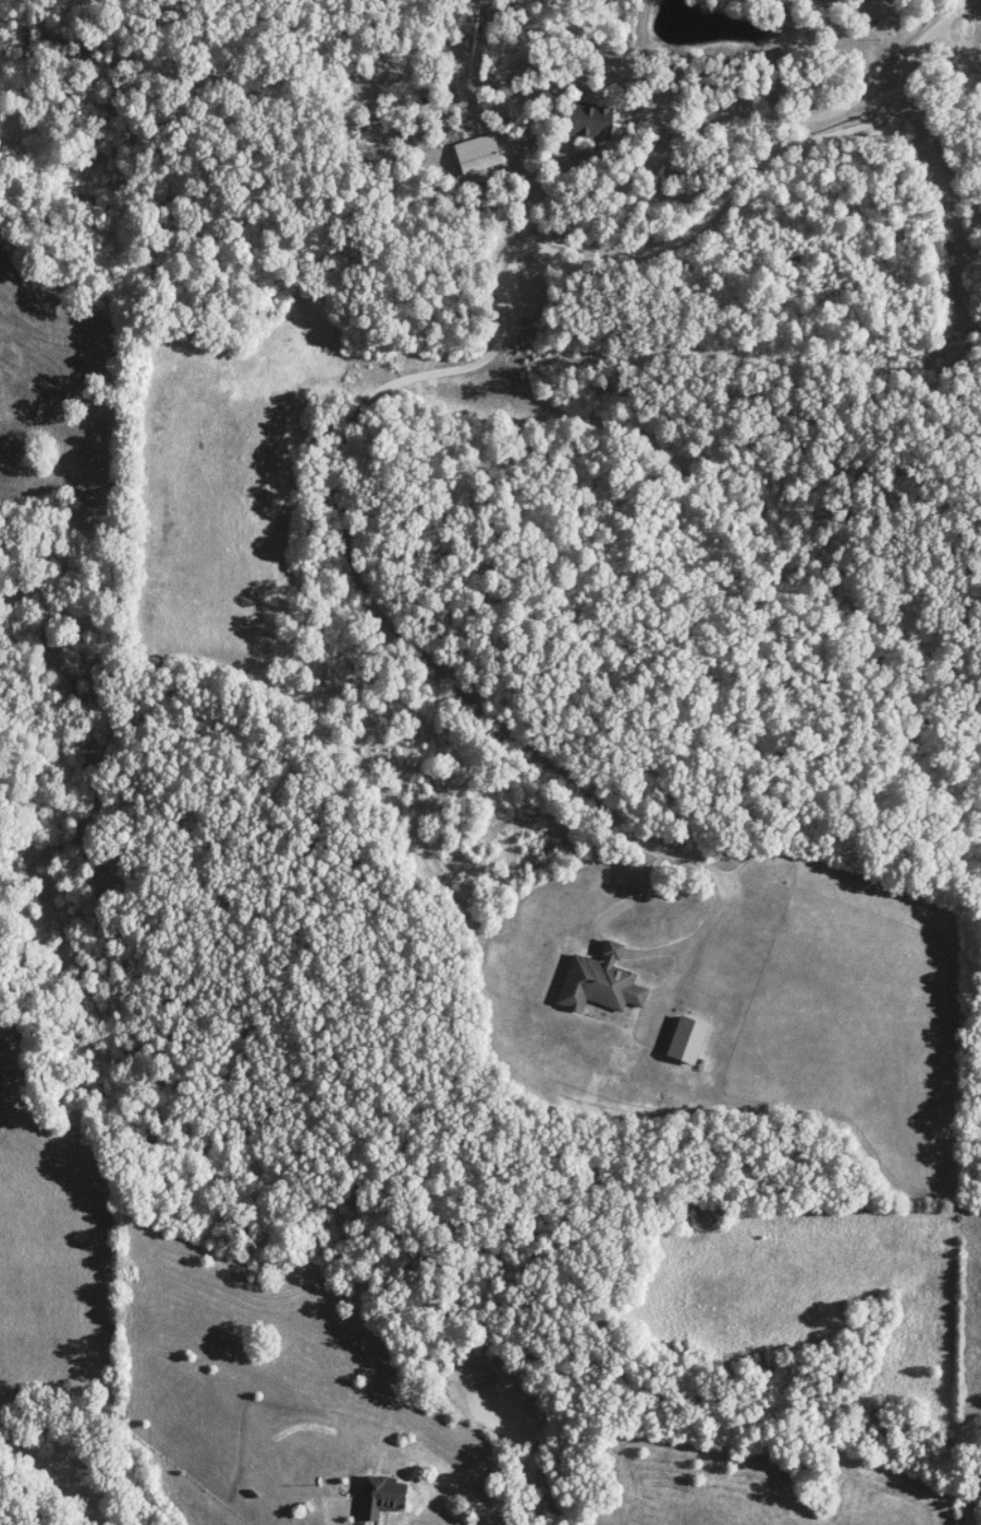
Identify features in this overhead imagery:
road: (955, 52)
road: (812, 115)
building: (594, 120)
building: (481, 154)
road: (422, 367)
road: (706, 917)
building: (601, 982)
building: (689, 1039)
building: (382, 1496)
road: (323, 1515)

